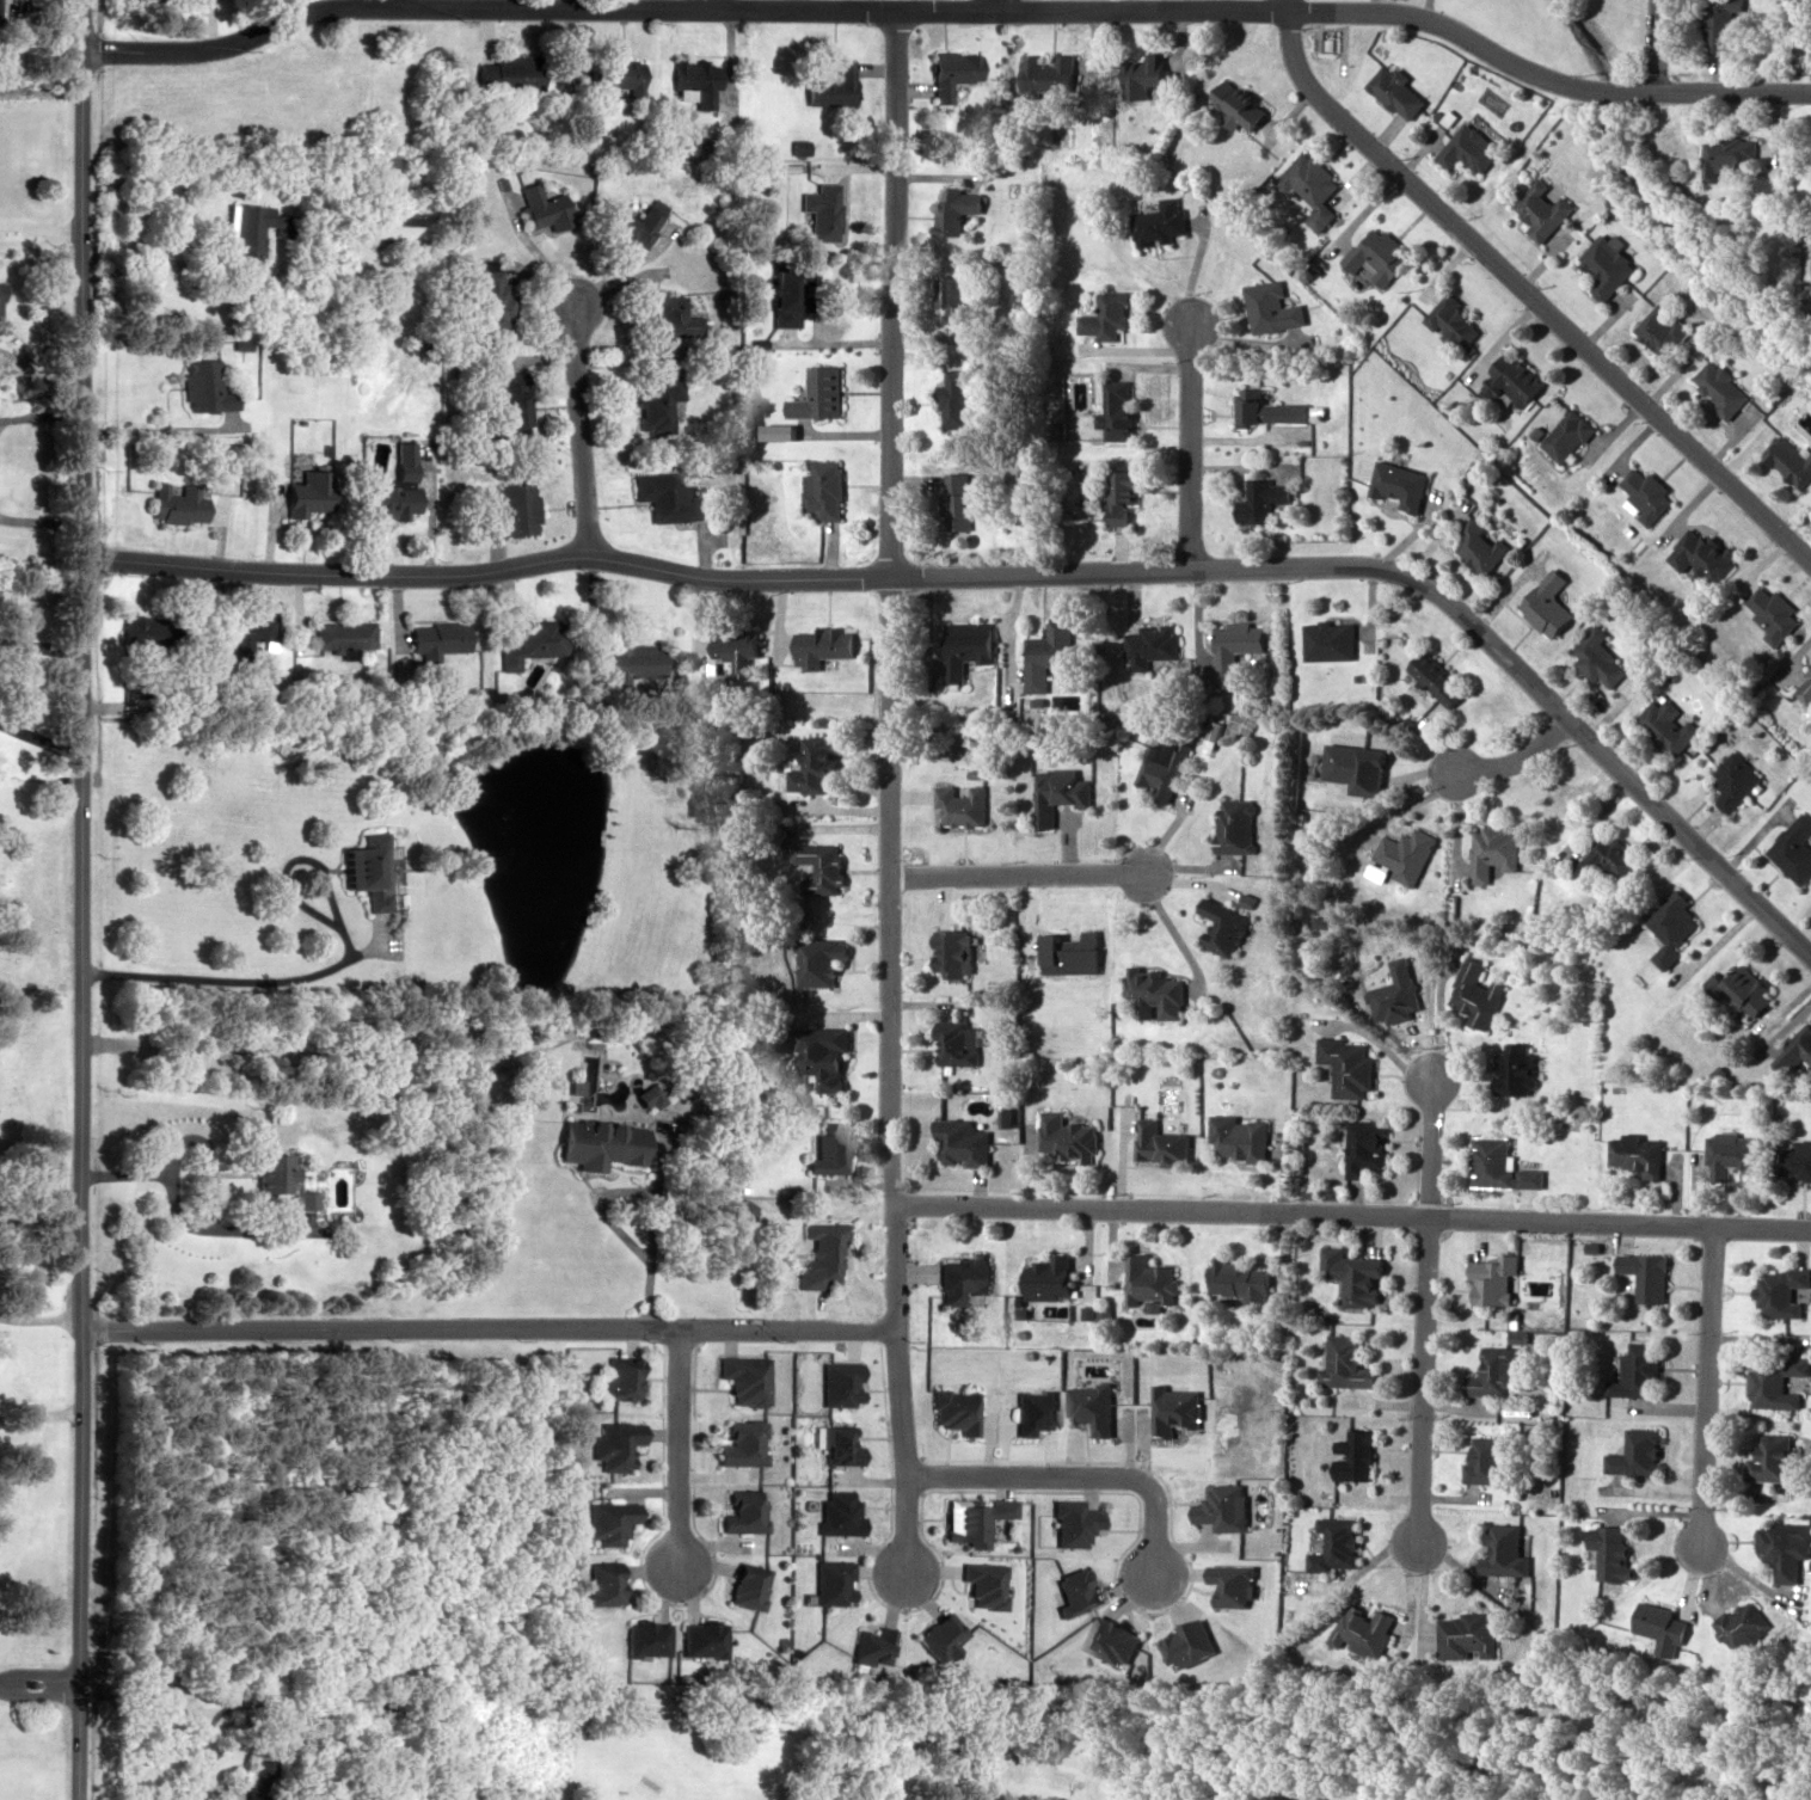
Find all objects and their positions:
road: (392, 2)
road: (706, 4)
road: (992, 4)
road: (950, 8)
building: (1720, 26)
road: (1658, 45)
building: (944, 70)
building: (499, 74)
building: (1044, 74)
building: (1142, 76)
building: (693, 79)
building: (608, 80)
building: (828, 87)
building: (1394, 91)
building: (1234, 104)
building: (1467, 147)
building: (1727, 154)
building: (1309, 185)
building: (535, 205)
building: (952, 209)
building: (1539, 209)
building: (817, 210)
building: (1159, 220)
building: (385, 223)
building: (628, 223)
building: (246, 226)
road: (39, 247)
building: (1375, 253)
building: (1604, 264)
road: (1524, 294)
building: (487, 295)
building: (779, 295)
building: (950, 295)
building: (1269, 307)
building: (665, 313)
building: (1105, 314)
building: (1449, 321)
building: (1659, 327)
building: (1509, 380)
building: (201, 386)
building: (1718, 387)
building: (815, 393)
building: (952, 398)
building: (1247, 399)
building: (656, 403)
building: (511, 406)
building: (1116, 408)
road: (582, 425)
building: (772, 431)
building: (1564, 435)
road: (1189, 441)
building: (1787, 459)
building: (819, 489)
building: (1643, 492)
building: (303, 493)
building: (387, 494)
building: (1118, 494)
building: (669, 497)
building: (953, 499)
building: (1259, 499)
building: (173, 503)
building: (511, 510)
building: (1474, 546)
building: (1699, 554)
road: (1019, 572)
building: (1542, 603)
building: (1769, 613)
building: (245, 629)
building: (140, 633)
building: (343, 635)
building: (434, 638)
building: (534, 639)
building: (1327, 640)
building: (819, 645)
building: (1148, 645)
building: (963, 647)
building: (1233, 647)
building: (733, 650)
building: (1043, 655)
building: (1594, 657)
building: (632, 659)
building: (1434, 677)
building: (1803, 686)
building: (1664, 725)
road: (1515, 760)
building: (810, 766)
building: (1162, 767)
building: (1731, 780)
road: (889, 788)
building: (1057, 793)
building: (960, 805)
building: (1234, 823)
building: (1792, 848)
building: (1491, 850)
building: (1404, 853)
building: (1604, 858)
building: (818, 866)
building: (362, 868)
road: (1018, 872)
road: (79, 899)
building: (1221, 923)
building: (1669, 926)
building: (950, 951)
building: (816, 958)
road: (327, 967)
building: (1744, 989)
building: (1155, 993)
building: (1473, 993)
building: (954, 1045)
road: (325, 1052)
building: (819, 1053)
building: (1795, 1053)
building: (1343, 1065)
building: (1512, 1069)
building: (1067, 1136)
building: (1238, 1136)
building: (960, 1142)
building: (1160, 1143)
building: (594, 1144)
building: (1362, 1145)
building: (824, 1148)
building: (1634, 1153)
building: (1730, 1154)
building: (1795, 1160)
building: (1488, 1161)
building: (276, 1179)
road: (1349, 1216)
building: (815, 1254)
building: (1350, 1274)
building: (1644, 1274)
building: (958, 1277)
building: (1048, 1277)
building: (1490, 1278)
building: (1235, 1279)
building: (1149, 1280)
building: (1780, 1290)
road: (1423, 1308)
road: (39, 1317)
road: (480, 1328)
building: (1343, 1363)
building: (1637, 1371)
building: (1491, 1372)
building: (620, 1377)
building: (739, 1378)
building: (1773, 1380)
building: (835, 1383)
road: (1706, 1390)
building: (949, 1409)
building: (1029, 1411)
road: (38, 1415)
building: (736, 1443)
building: (614, 1444)
building: (833, 1444)
road: (675, 1451)
building: (1634, 1454)
building: (1350, 1456)
building: (1769, 1458)
building: (1487, 1460)
road: (1075, 1478)
building: (736, 1512)
building: (833, 1512)
building: (606, 1522)
building: (1331, 1542)
building: (1782, 1547)
building: (1606, 1550)
building: (1500, 1552)
building: (600, 1583)
building: (741, 1585)
building: (1657, 1623)
building: (1739, 1623)
building: (1362, 1629)
building: (1463, 1635)
building: (643, 1638)
building: (700, 1639)
road: (38, 1682)
building: (253, 1780)
building: (1306, 1798)

